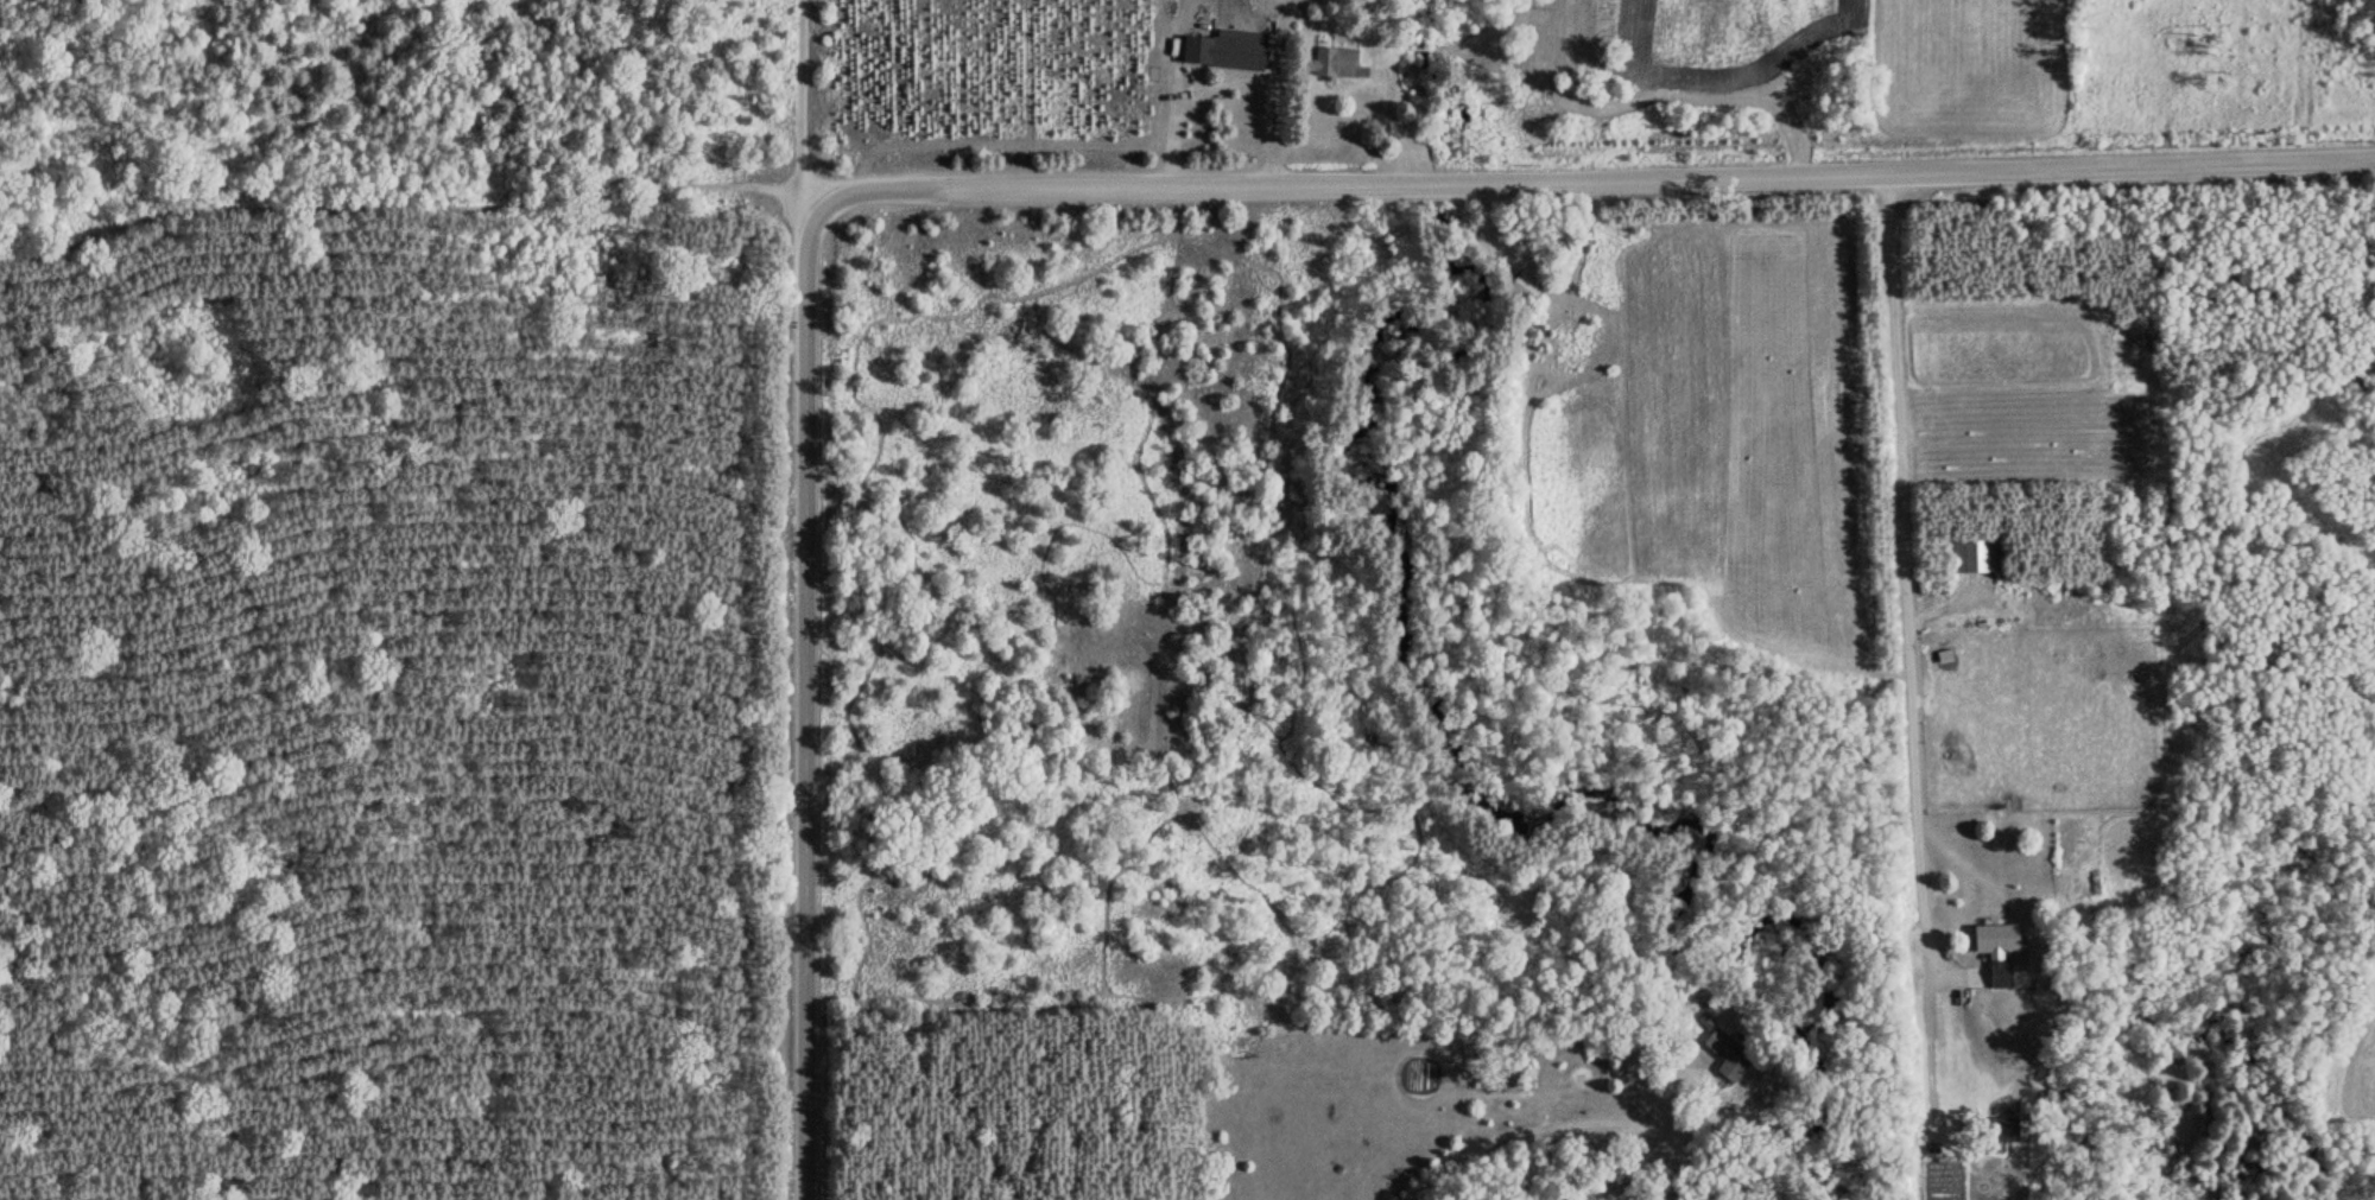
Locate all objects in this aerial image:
building: (1223, 50)
building: (1329, 58)
road: (799, 95)
road: (1589, 178)
road: (401, 179)
building: (1970, 554)
road: (797, 696)
road: (1090, 904)
building: (1994, 957)
building: (1725, 1055)
building: (2003, 1129)
building: (1613, 1180)

